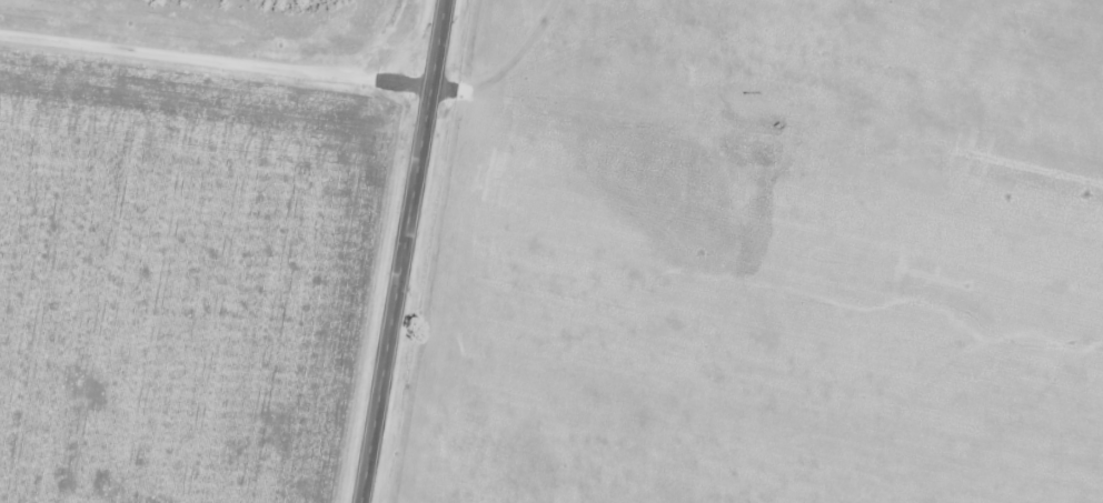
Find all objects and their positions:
road: (213, 71)
road: (401, 251)

